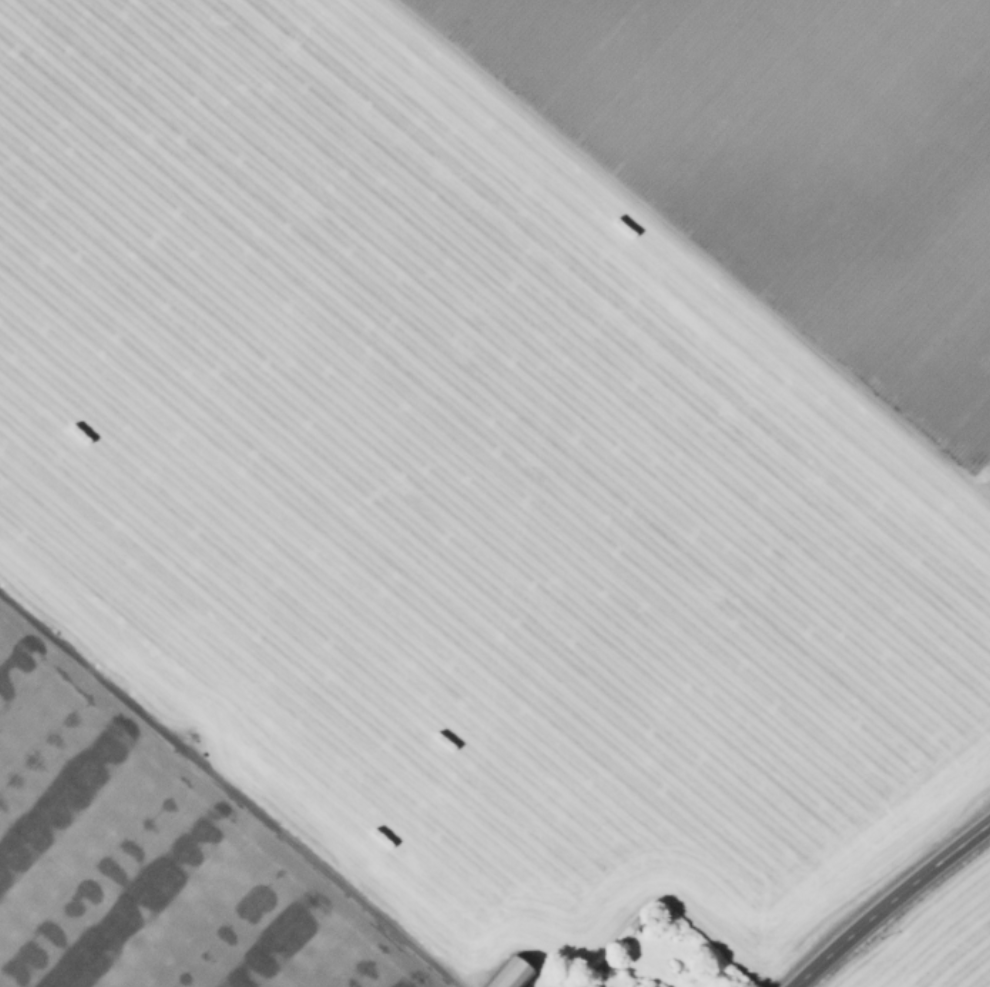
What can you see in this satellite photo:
crop: (484, 482)
road: (889, 901)
crop: (943, 947)
building: (512, 972)
building: (576, 985)
building: (652, 986)

